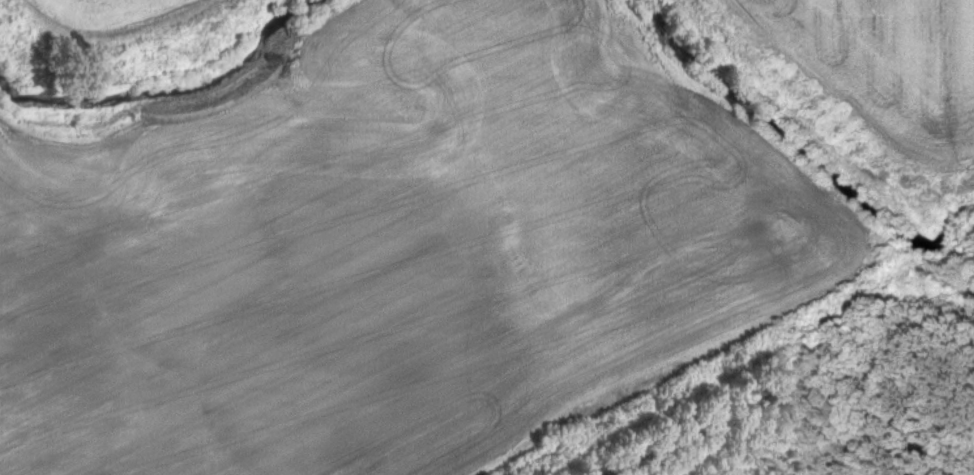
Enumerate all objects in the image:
crop: (109, 18)
crop: (879, 69)
crop: (390, 247)

